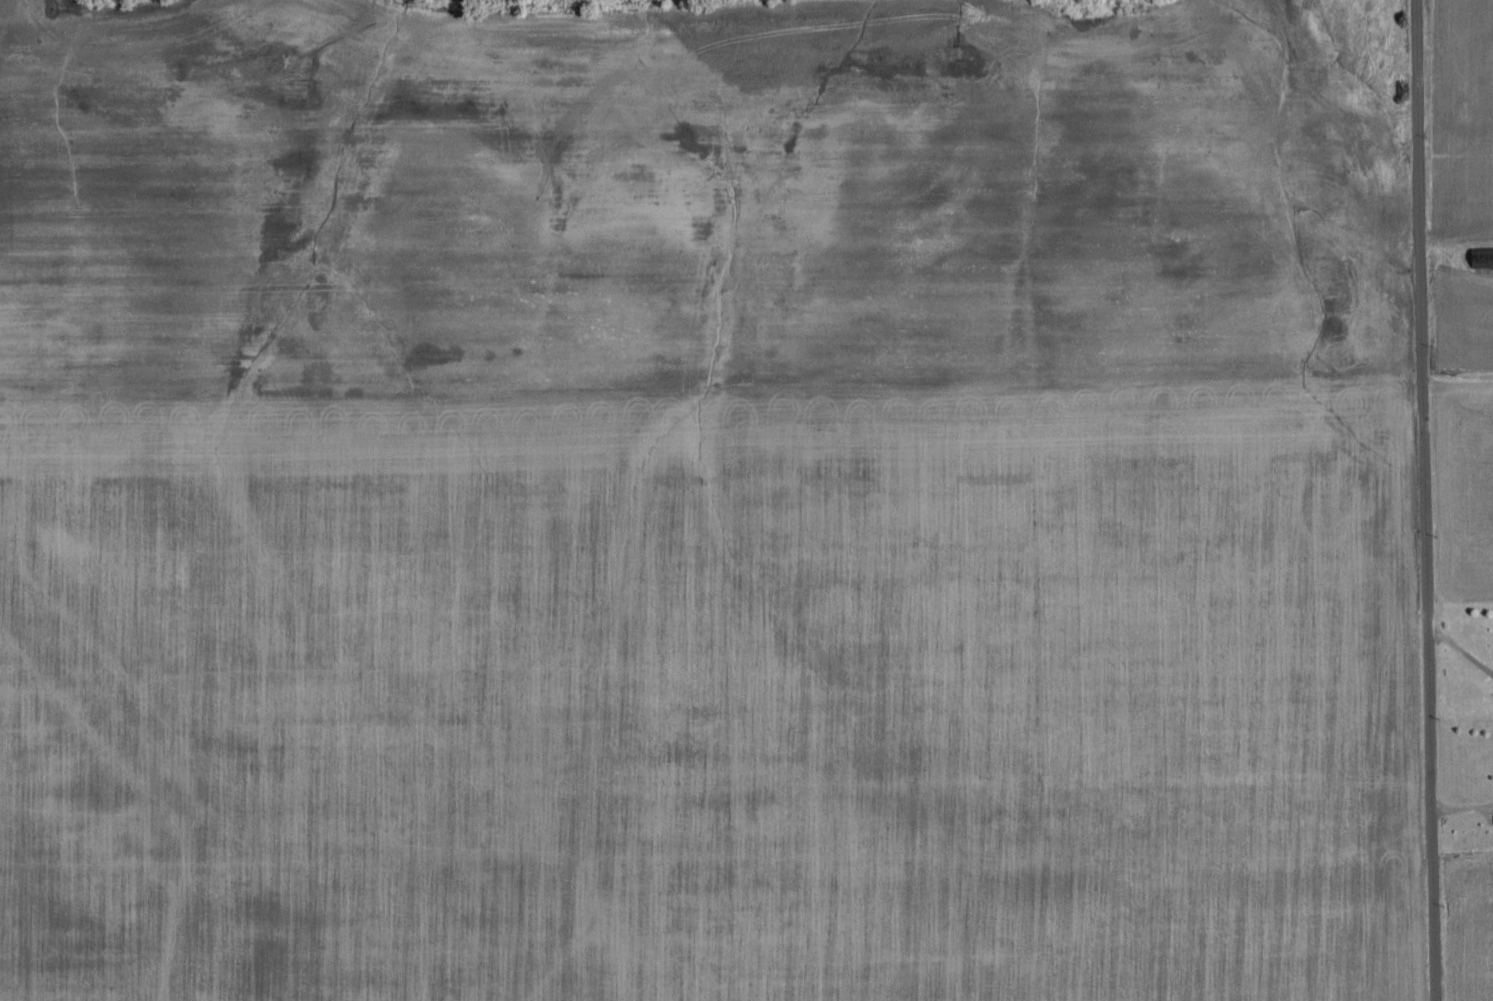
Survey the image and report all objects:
road: (1456, 391)
road: (1422, 500)

